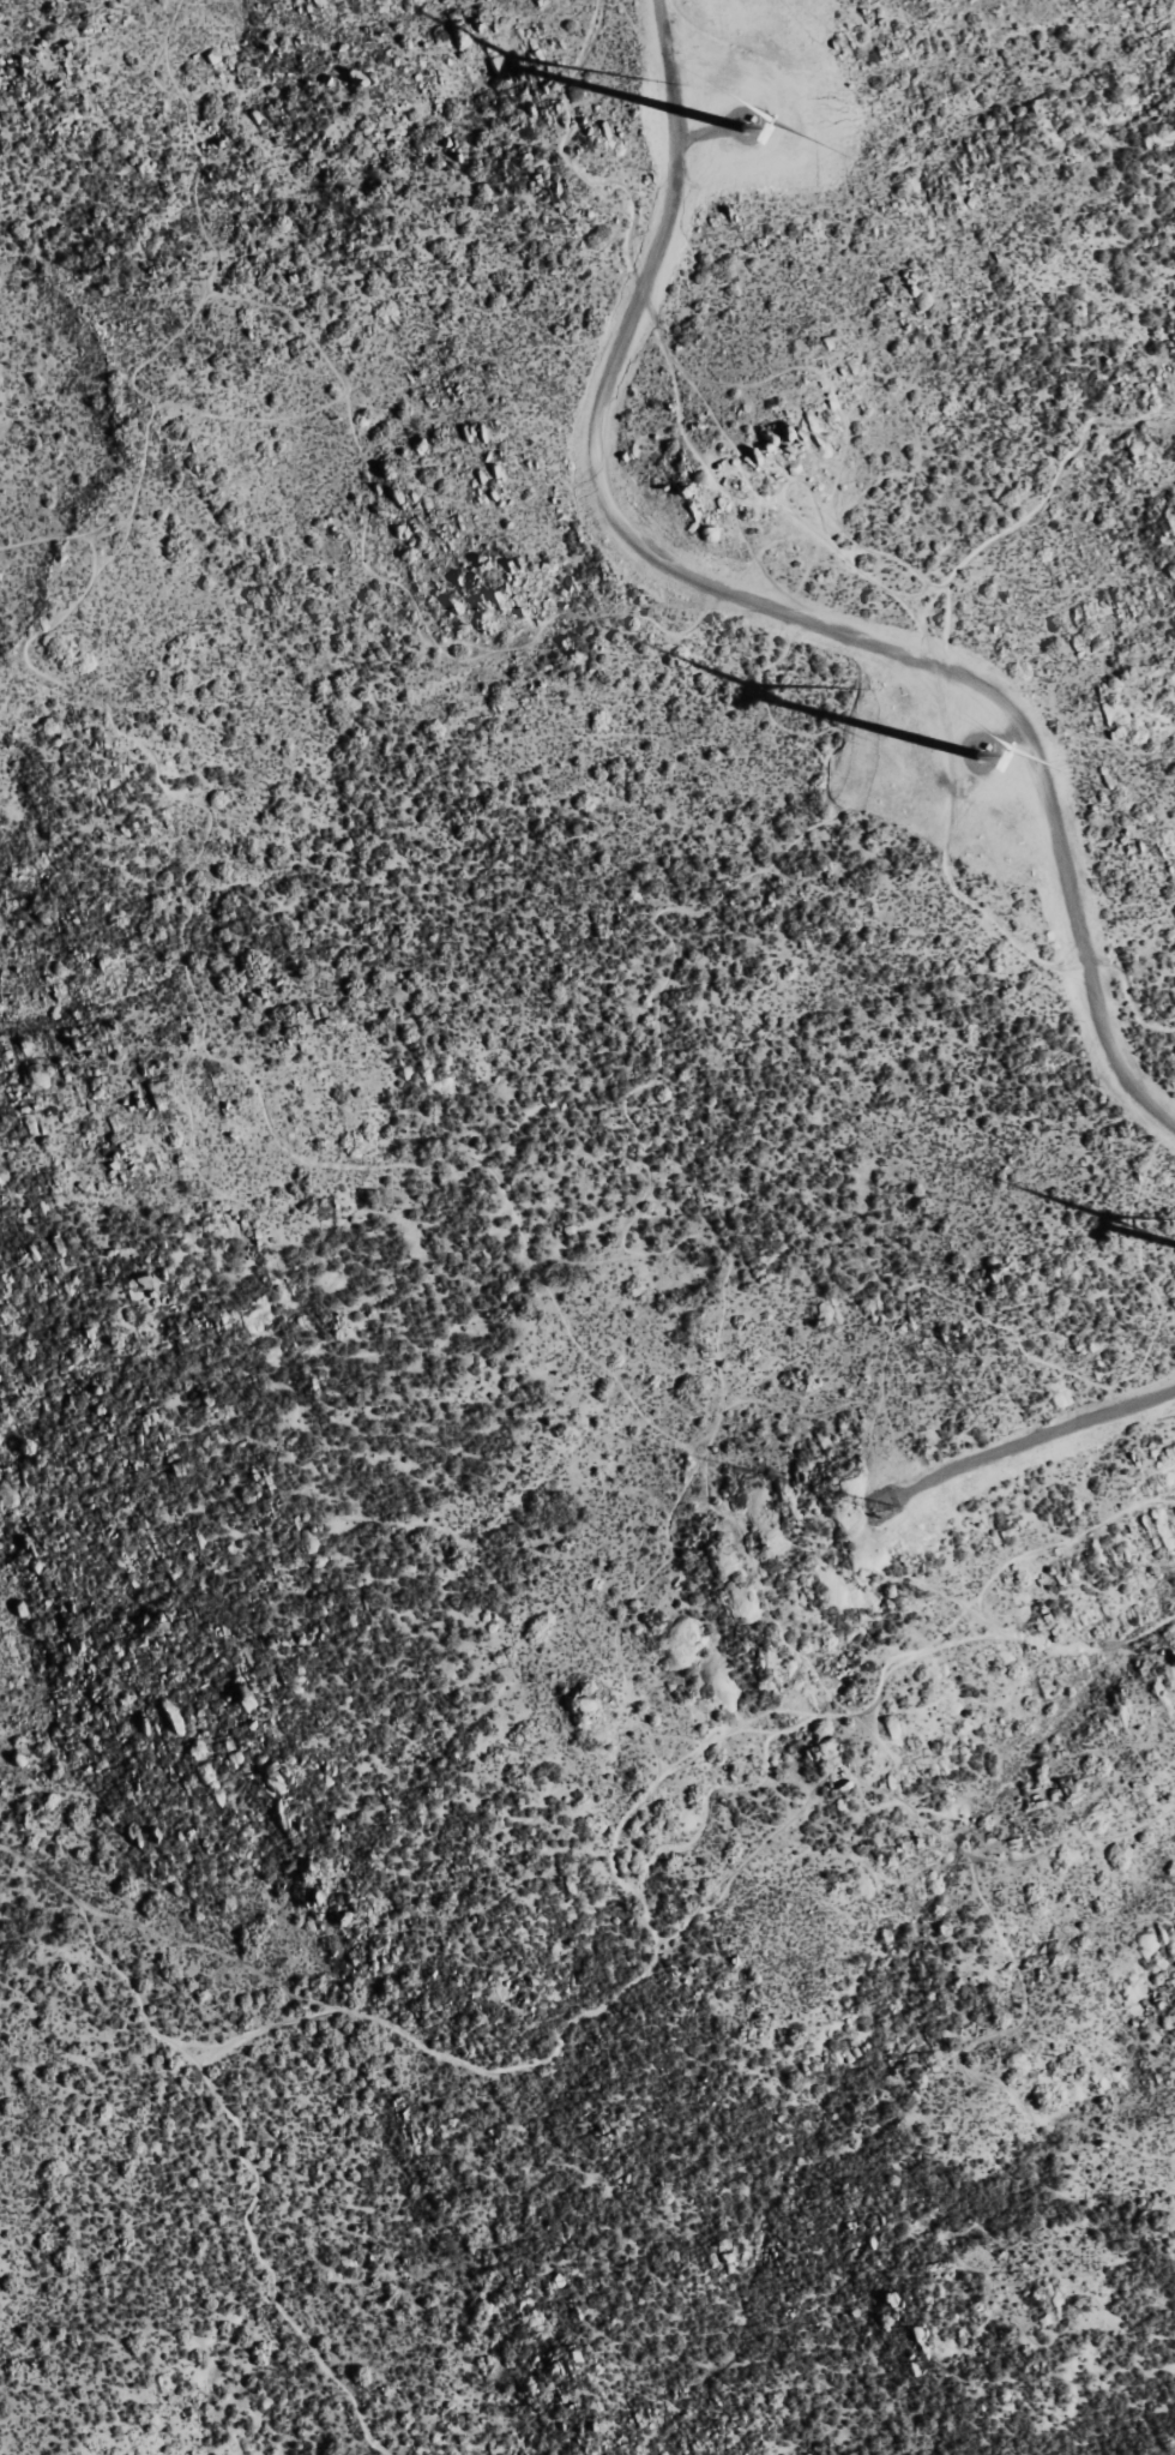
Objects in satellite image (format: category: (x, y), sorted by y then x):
wind turbine: (748, 122)
road: (332, 368)
road: (772, 607)
road: (945, 722)
wind turbine: (983, 755)
road: (1037, 1435)
road: (223, 2035)

